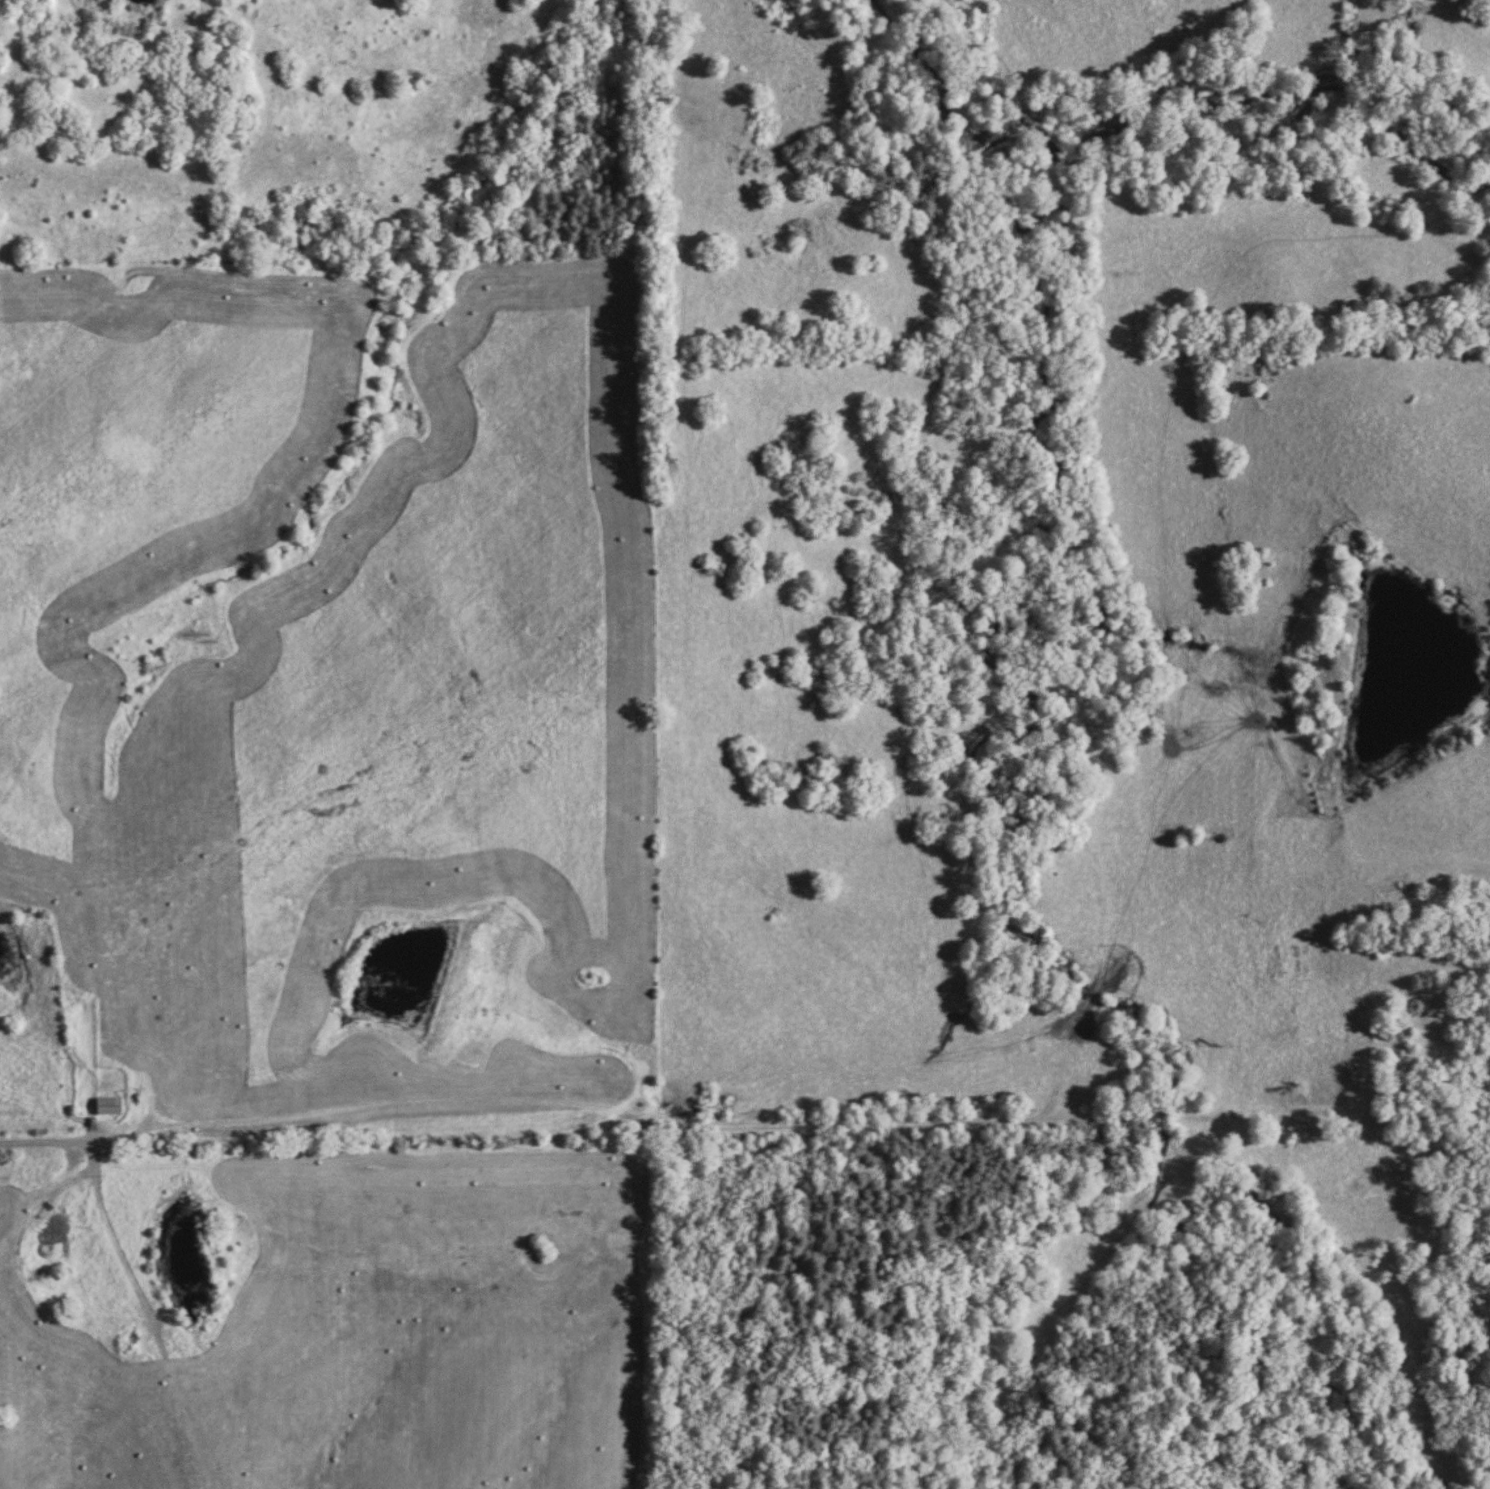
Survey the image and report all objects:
building: (110, 1106)

